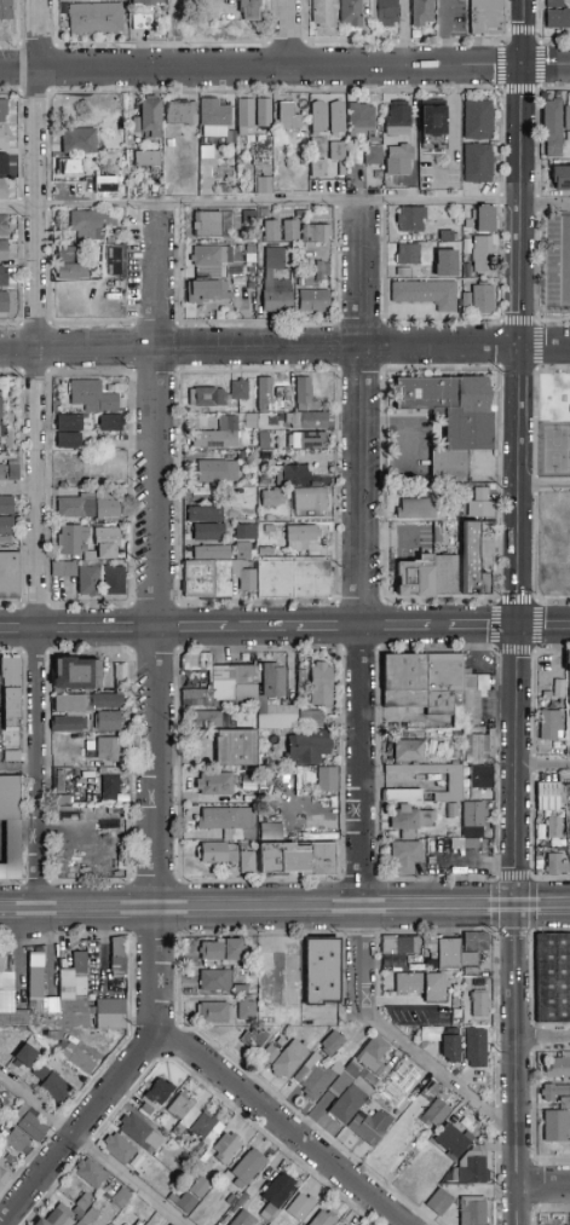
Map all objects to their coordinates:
building: (145, 2)
building: (552, 4)
building: (5, 10)
building: (248, 11)
building: (350, 13)
building: (385, 13)
building: (421, 13)
building: (323, 15)
road: (506, 15)
building: (485, 17)
building: (96, 18)
building: (558, 19)
road: (300, 21)
road: (17, 22)
road: (53, 22)
road: (269, 22)
building: (143, 23)
road: (522, 30)
road: (537, 30)
road: (287, 33)
road: (404, 33)
road: (540, 35)
road: (506, 36)
road: (456, 40)
road: (350, 41)
road: (403, 41)
road: (161, 42)
road: (540, 42)
road: (8, 44)
road: (35, 44)
road: (286, 44)
road: (267, 64)
traffic signals: (523, 65)
road: (500, 67)
road: (284, 68)
road: (537, 83)
building: (2, 111)
building: (180, 112)
building: (264, 112)
building: (214, 114)
building: (244, 114)
building: (288, 116)
building: (335, 117)
building: (566, 117)
building: (148, 119)
building: (397, 120)
building: (477, 120)
building: (362, 121)
building: (552, 121)
road: (537, 125)
building: (432, 127)
building: (225, 137)
building: (2, 139)
building: (317, 139)
building: (77, 141)
building: (260, 151)
building: (336, 151)
building: (373, 156)
building: (146, 160)
building: (398, 160)
building: (477, 163)
building: (2, 164)
building: (69, 167)
building: (560, 178)
building: (105, 185)
building: (265, 185)
building: (2, 189)
road: (539, 198)
road: (284, 204)
road: (539, 208)
building: (410, 219)
building: (484, 219)
building: (91, 224)
building: (213, 225)
building: (2, 226)
building: (295, 232)
road: (569, 250)
building: (2, 252)
building: (244, 253)
building: (408, 254)
building: (67, 255)
building: (482, 255)
building: (209, 256)
building: (274, 259)
building: (445, 260)
building: (114, 261)
building: (318, 267)
building: (71, 271)
road: (537, 283)
building: (2, 289)
building: (206, 291)
building: (425, 294)
building: (277, 296)
building: (478, 299)
building: (313, 301)
road: (284, 347)
building: (238, 389)
building: (300, 389)
building: (267, 394)
building: (92, 397)
building: (207, 397)
building: (450, 417)
building: (305, 421)
building: (109, 423)
building: (68, 432)
building: (218, 437)
building: (259, 438)
building: (309, 440)
park: (554, 450)
road: (518, 452)
road: (36, 455)
building: (287, 470)
building: (217, 472)
building: (2, 473)
building: (12, 473)
road: (18, 485)
road: (543, 485)
building: (102, 491)
building: (270, 498)
building: (311, 498)
building: (85, 504)
building: (480, 504)
building: (415, 509)
building: (203, 514)
building: (6, 521)
building: (207, 533)
building: (299, 537)
building: (71, 539)
building: (246, 541)
building: (106, 543)
road: (361, 555)
road: (157, 557)
building: (472, 562)
building: (63, 570)
building: (10, 574)
building: (213, 574)
building: (426, 577)
building: (293, 579)
building: (90, 580)
building: (114, 580)
road: (543, 628)
road: (261, 629)
road: (328, 629)
road: (396, 629)
road: (441, 629)
road: (483, 629)
traffic signals: (518, 629)
road: (99, 630)
road: (192, 630)
road: (21, 631)
building: (196, 660)
building: (10, 670)
building: (77, 672)
building: (120, 677)
building: (290, 678)
building: (274, 681)
building: (404, 682)
building: (443, 683)
building: (235, 684)
building: (321, 684)
building: (555, 686)
building: (569, 686)
building: (473, 694)
building: (196, 698)
building: (106, 700)
building: (69, 704)
building: (569, 705)
building: (11, 707)
building: (276, 716)
building: (310, 718)
building: (212, 720)
building: (105, 722)
building: (70, 723)
building: (549, 726)
building: (479, 745)
building: (91, 746)
building: (309, 746)
building: (236, 749)
building: (77, 750)
building: (109, 750)
building: (409, 751)
building: (11, 757)
road: (543, 764)
road: (21, 770)
building: (288, 774)
building: (482, 778)
building: (327, 780)
building: (455, 781)
building: (215, 784)
building: (109, 787)
building: (547, 790)
building: (10, 798)
building: (453, 811)
building: (473, 820)
building: (411, 821)
building: (553, 821)
building: (230, 822)
building: (269, 822)
building: (467, 844)
building: (218, 853)
building: (405, 856)
building: (298, 859)
building: (431, 860)
building: (248, 862)
building: (555, 862)
railway: (284, 903)
road: (438, 906)
traffic signals: (516, 906)
road: (542, 906)
road: (259, 907)
road: (99, 908)
road: (21, 909)
railway: (284, 913)
building: (476, 942)
building: (221, 952)
building: (397, 952)
building: (448, 954)
building: (117, 957)
road: (362, 959)
building: (470, 960)
building: (322, 971)
building: (31, 972)
building: (243, 972)
building: (6, 973)
building: (553, 980)
building: (215, 981)
building: (421, 986)
building: (281, 989)
building: (241, 990)
building: (64, 1000)
building: (455, 1002)
building: (479, 1006)
building: (246, 1010)
building: (214, 1013)
building: (15, 1018)
building: (106, 1021)
building: (5, 1038)
road: (542, 1039)
building: (258, 1040)
building: (330, 1044)
building: (445, 1046)
building: (270, 1053)
building: (477, 1053)
building: (373, 1054)
building: (25, 1056)
building: (75, 1058)
building: (288, 1058)
road: (516, 1065)
building: (558, 1067)
road: (439, 1074)
building: (316, 1077)
road: (116, 1079)
building: (402, 1084)
building: (52, 1085)
building: (431, 1088)
building: (160, 1091)
building: (350, 1091)
building: (553, 1092)
building: (146, 1109)
building: (183, 1114)
building: (436, 1114)
building: (28, 1122)
building: (557, 1122)
road: (280, 1125)
building: (369, 1126)
building: (137, 1131)
building: (205, 1132)
building: (453, 1142)
building: (16, 1145)
building: (226, 1148)
building: (119, 1149)
road: (93, 1150)
building: (430, 1162)
building: (247, 1168)
building: (470, 1169)
building: (4, 1173)
building: (90, 1173)
road: (542, 1185)
building: (191, 1196)
building: (275, 1197)
building: (121, 1198)
building: (85, 1202)
building: (439, 1202)
building: (298, 1209)
building: (472, 1210)
building: (77, 1212)
building: (57, 1217)
building: (88, 1217)
building: (244, 1219)
building: (324, 1219)
building: (168, 1224)
building: (336, 1224)

